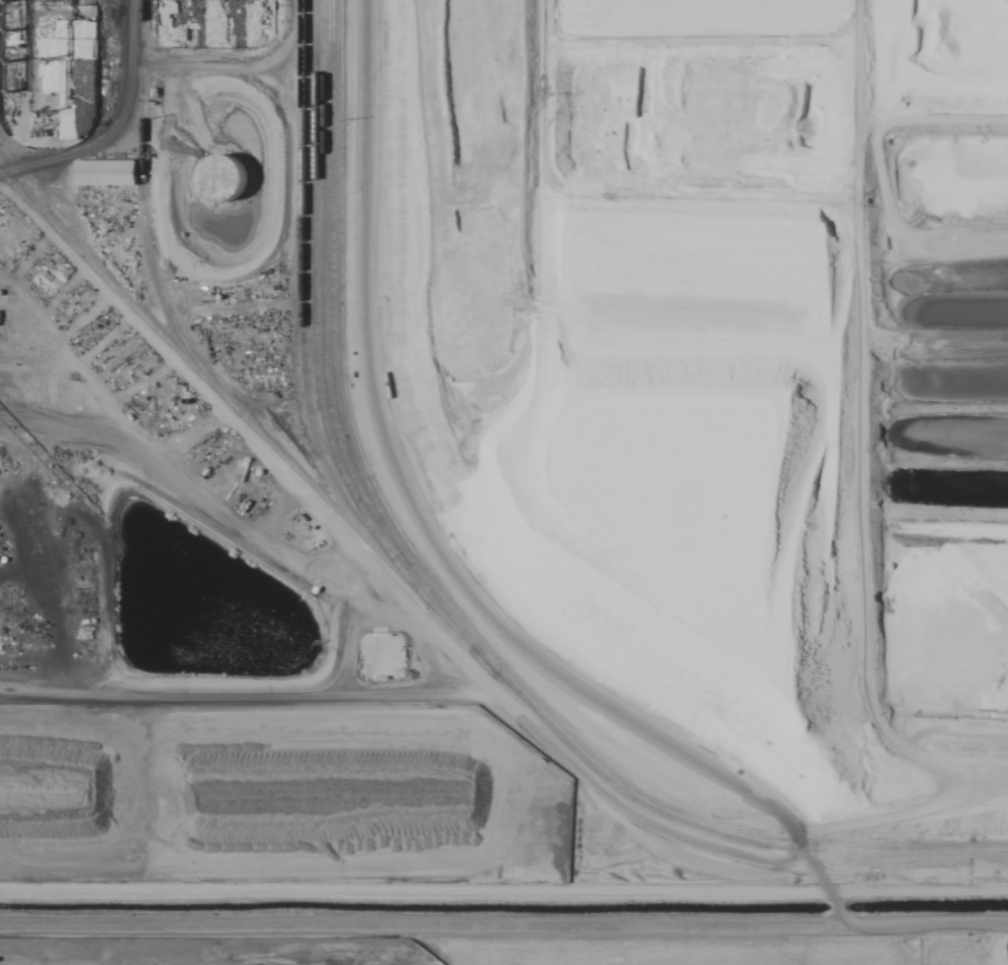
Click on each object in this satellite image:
building: (106, 173)
building: (222, 177)
railway: (287, 265)
railway: (439, 715)

